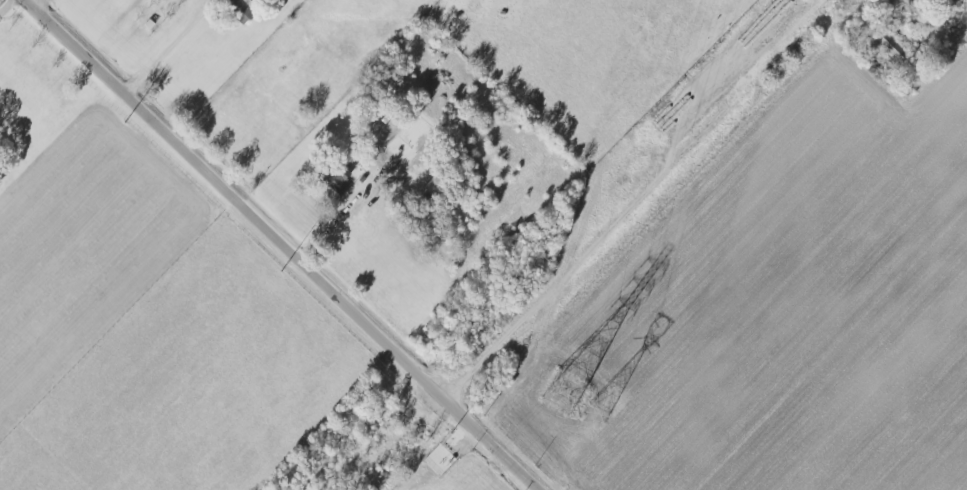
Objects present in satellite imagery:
road: (55, 7)
road: (8, 8)
building: (240, 9)
road: (172, 45)
building: (388, 132)
road: (620, 214)
railway: (573, 243)
road: (289, 245)
power tower: (564, 394)
power tower: (598, 413)

